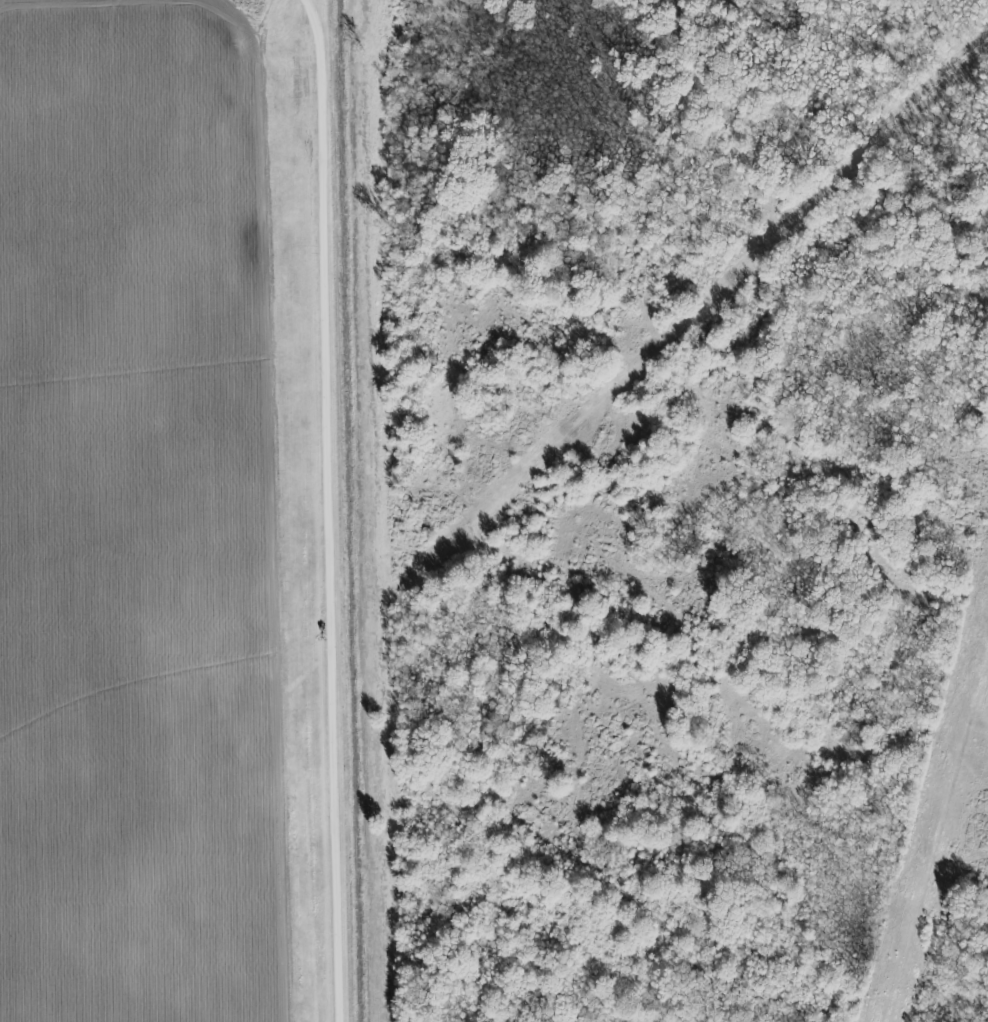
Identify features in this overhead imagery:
road: (335, 509)

